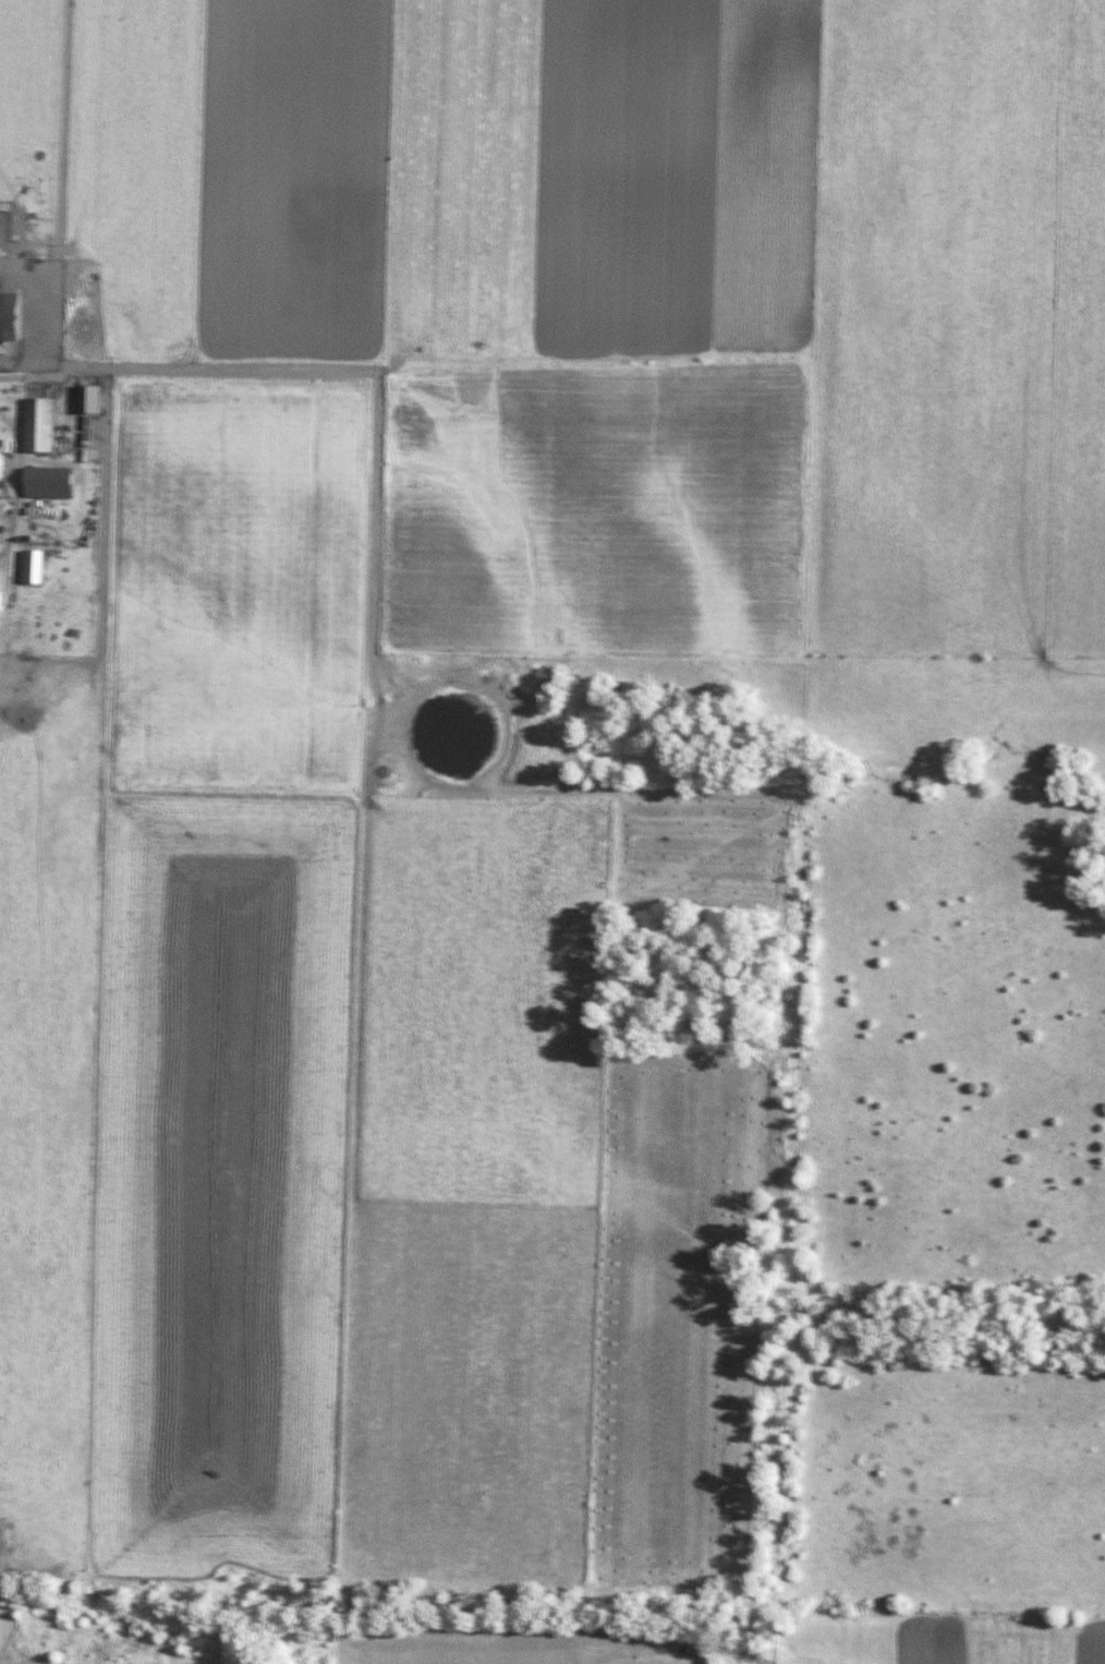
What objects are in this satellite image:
building: (15, 317)
building: (97, 399)
building: (47, 425)
building: (56, 483)
road: (13, 486)
building: (4, 600)

